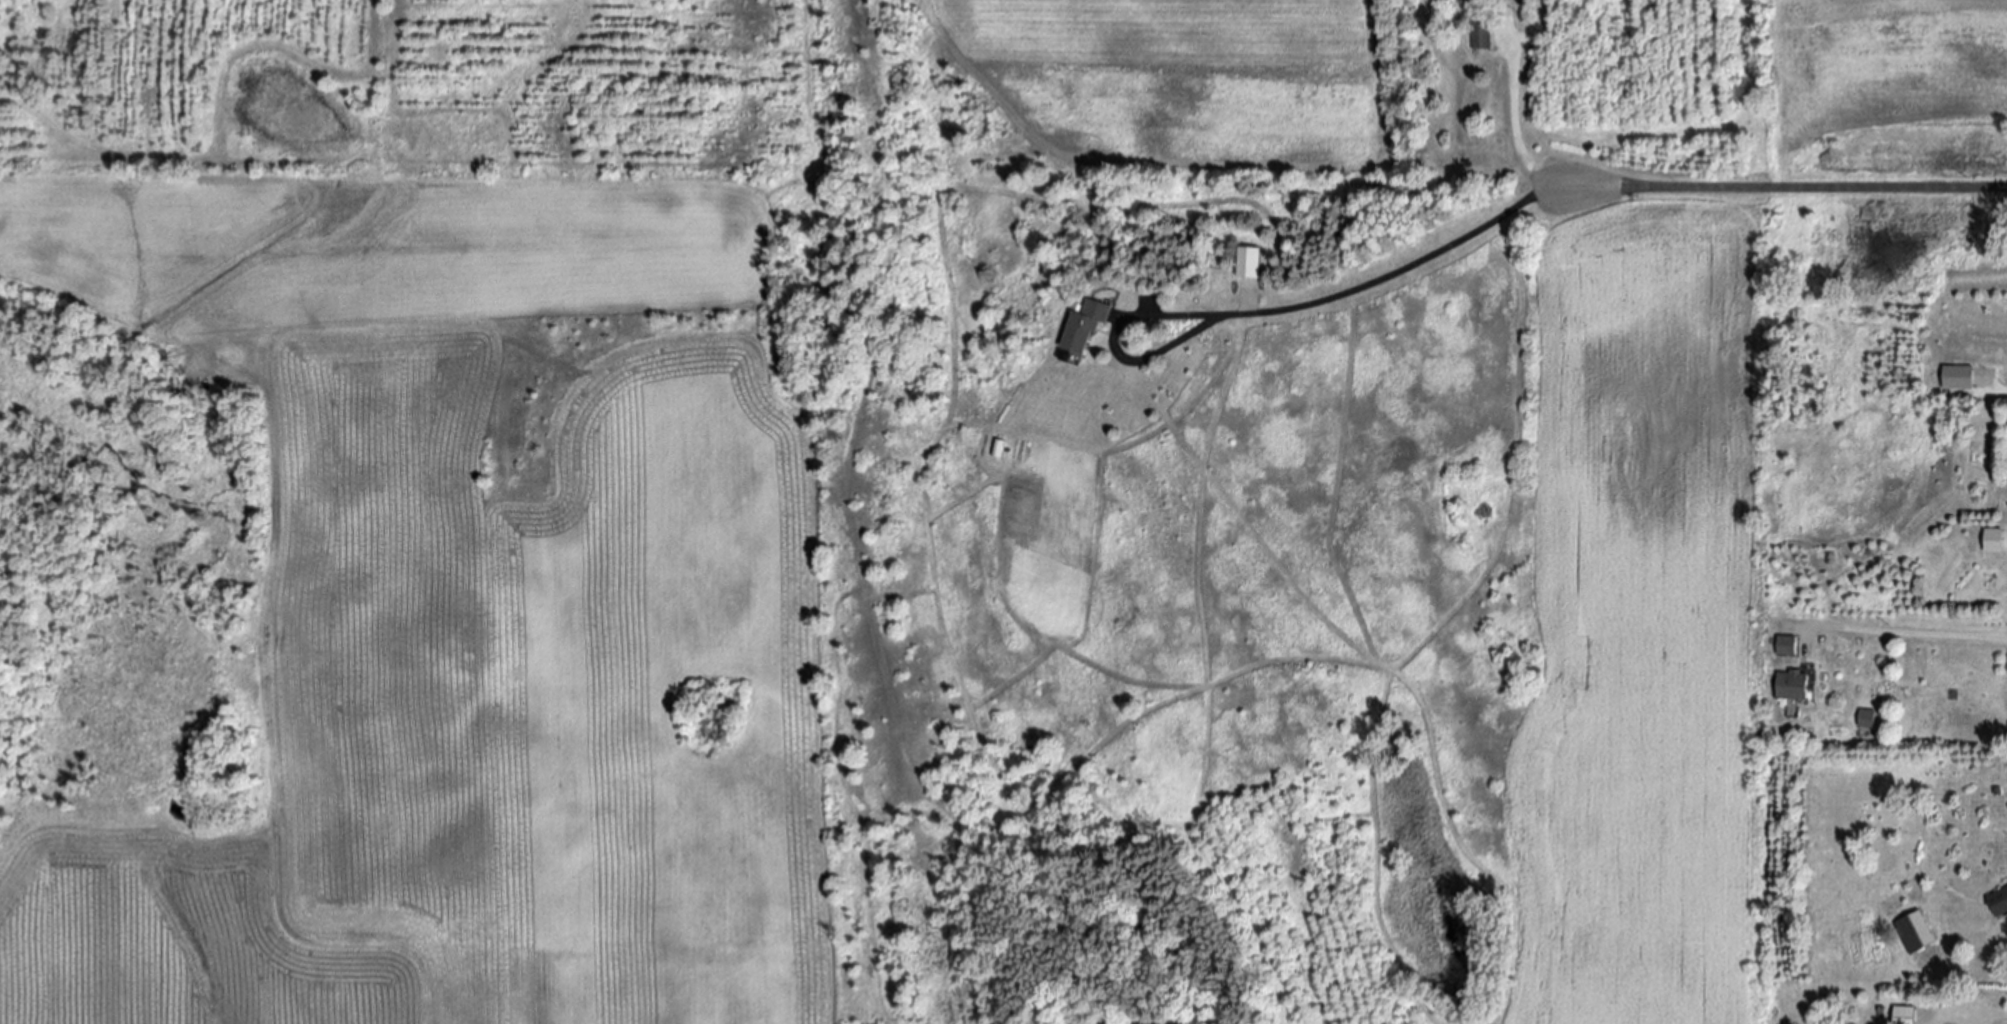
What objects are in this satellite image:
building: (1482, 33)
road: (1788, 187)
road: (1499, 217)
building: (1249, 262)
building: (1087, 326)
road: (1113, 349)
building: (1959, 377)
building: (999, 448)
building: (1995, 541)
road: (1911, 630)
building: (1789, 645)
building: (1794, 684)
building: (1866, 718)
building: (1999, 901)
building: (1916, 932)
road: (1979, 1012)
building: (1905, 1015)

